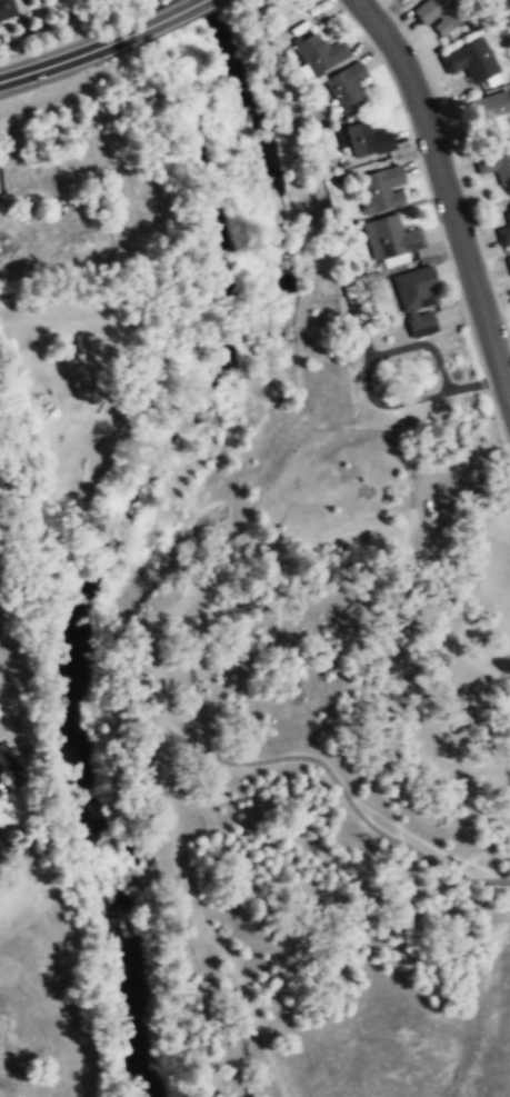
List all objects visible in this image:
river: (210, 4)
building: (7, 10)
building: (439, 14)
road: (161, 20)
building: (317, 54)
building: (470, 61)
road: (59, 62)
building: (347, 89)
building: (491, 114)
building: (364, 141)
building: (494, 164)
road: (450, 180)
building: (381, 190)
building: (504, 228)
building: (390, 239)
building: (509, 269)
building: (417, 302)
parking lot: (466, 476)
road: (461, 477)
river: (104, 559)
road: (164, 730)
road: (348, 792)

